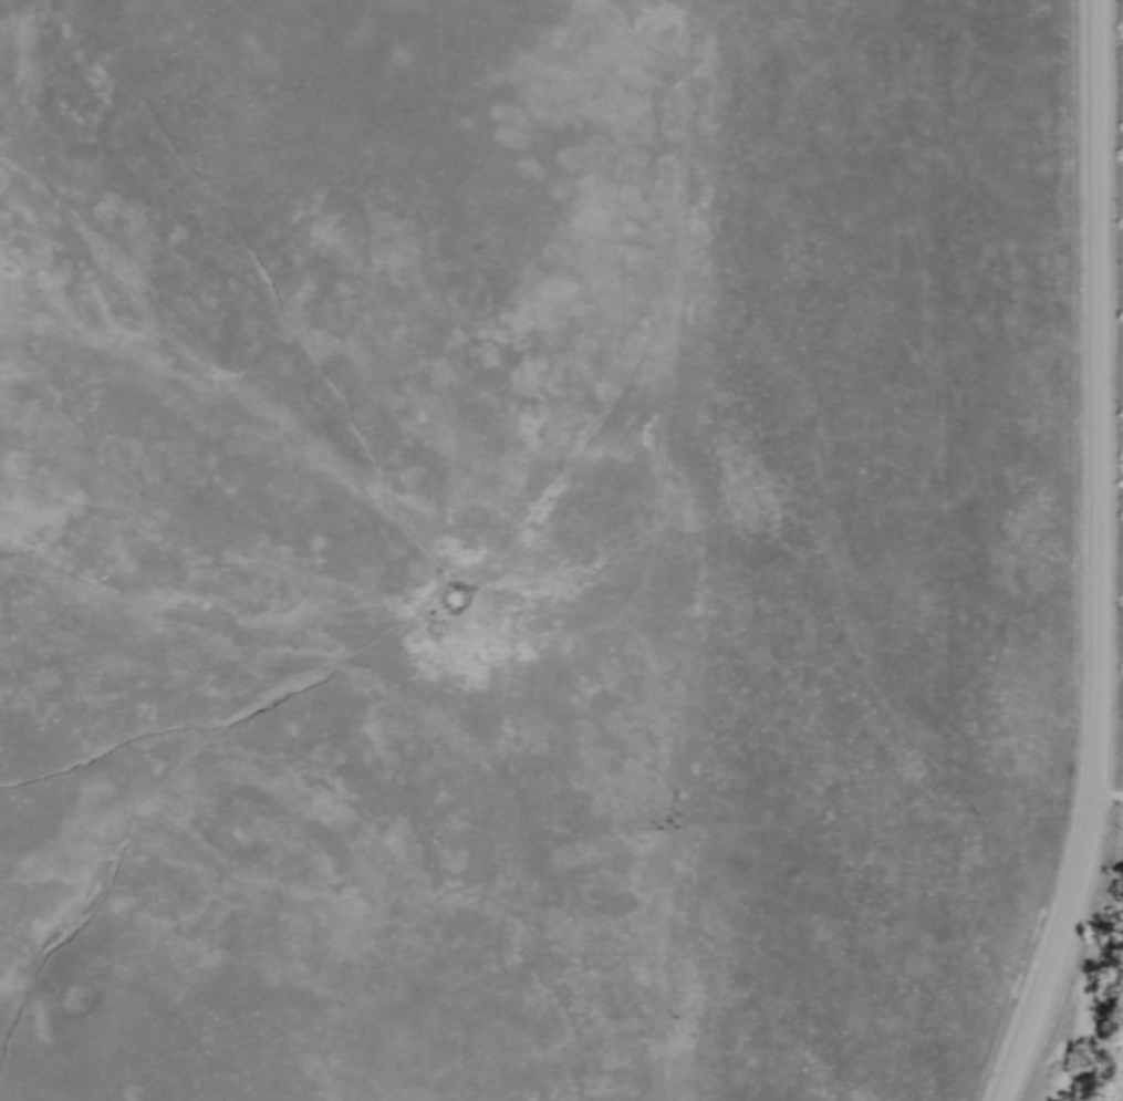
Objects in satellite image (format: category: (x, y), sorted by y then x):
road: (1095, 558)

